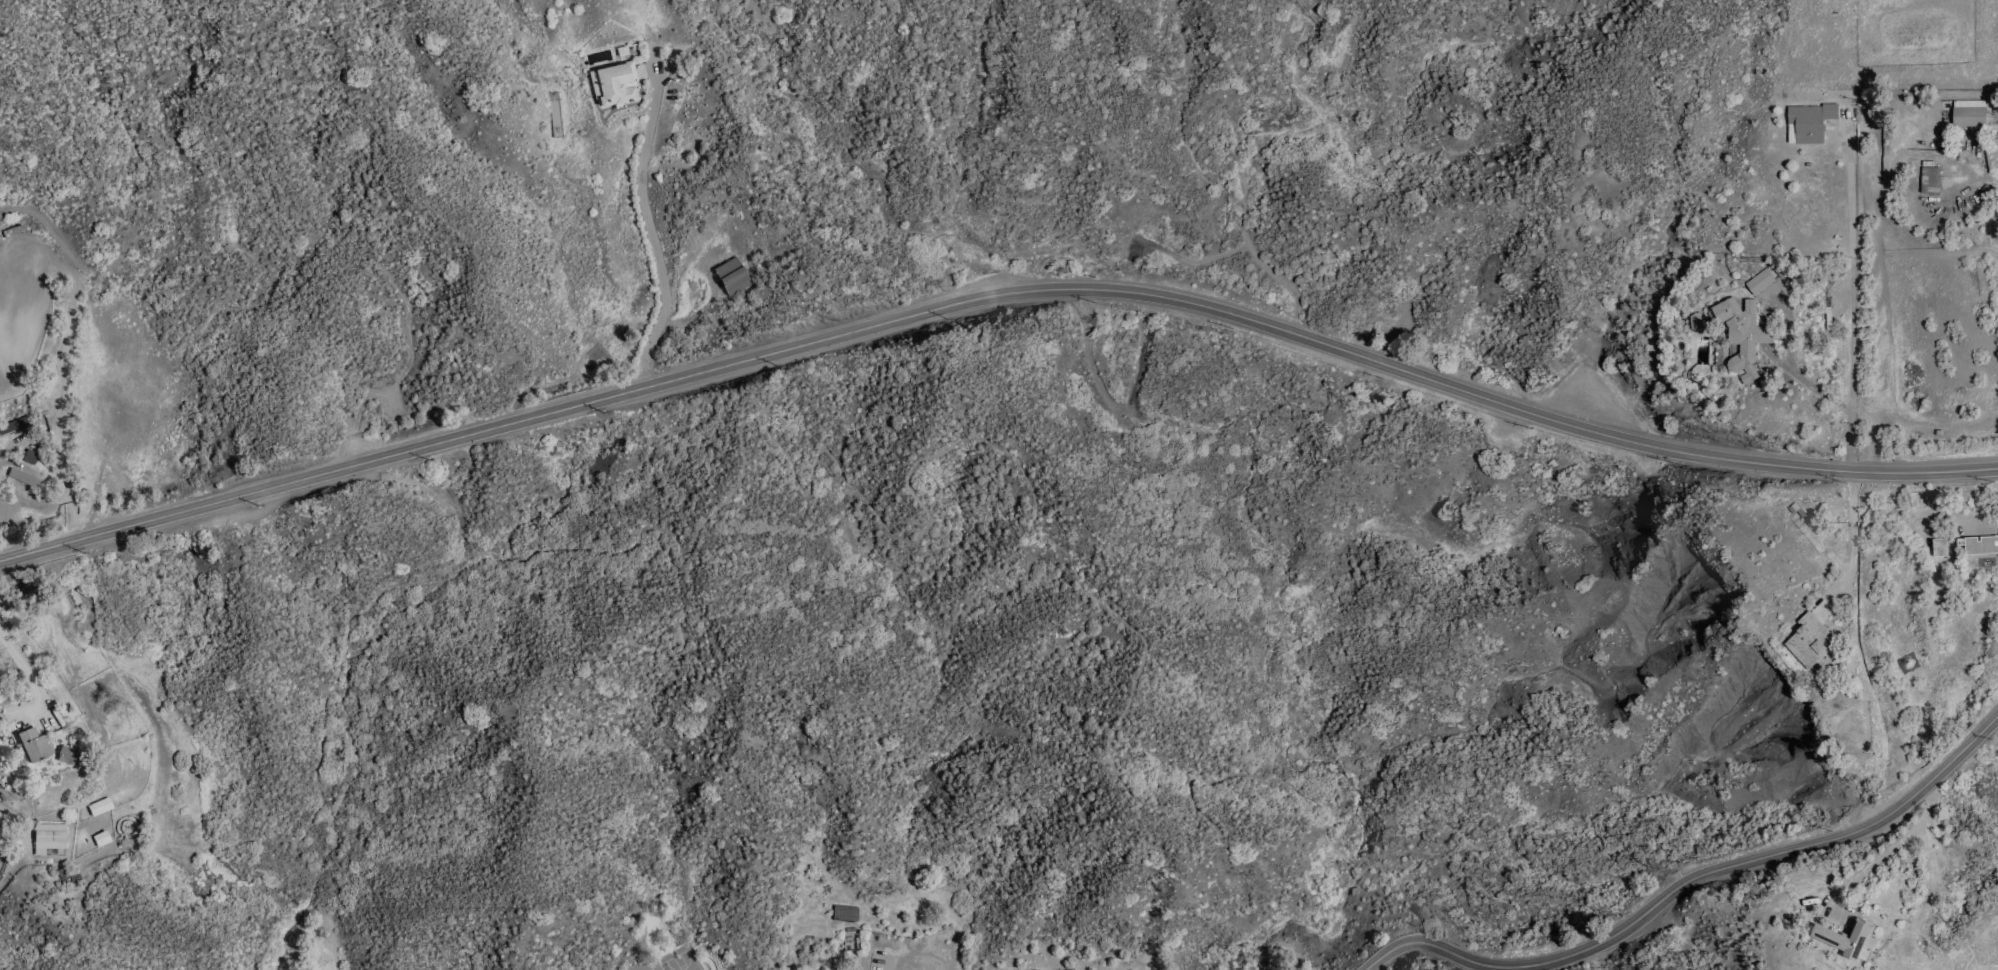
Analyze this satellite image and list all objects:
building: (615, 85)
building: (1970, 114)
building: (1810, 123)
building: (1931, 179)
road: (647, 218)
building: (1761, 282)
road: (994, 296)
road: (1854, 307)
building: (1830, 320)
building: (1698, 321)
building: (1744, 335)
road: (1795, 373)
building: (14, 428)
road: (58, 440)
building: (30, 458)
road: (839, 473)
building: (24, 478)
building: (1801, 513)
road: (1852, 534)
building: (1980, 546)
building: (1941, 548)
building: (1997, 567)
building: (1814, 644)
road: (28, 675)
building: (34, 746)
building: (67, 756)
building: (3, 794)
building: (99, 807)
building: (50, 838)
building: (101, 839)
road: (1895, 846)
road: (1694, 880)
building: (1851, 940)

